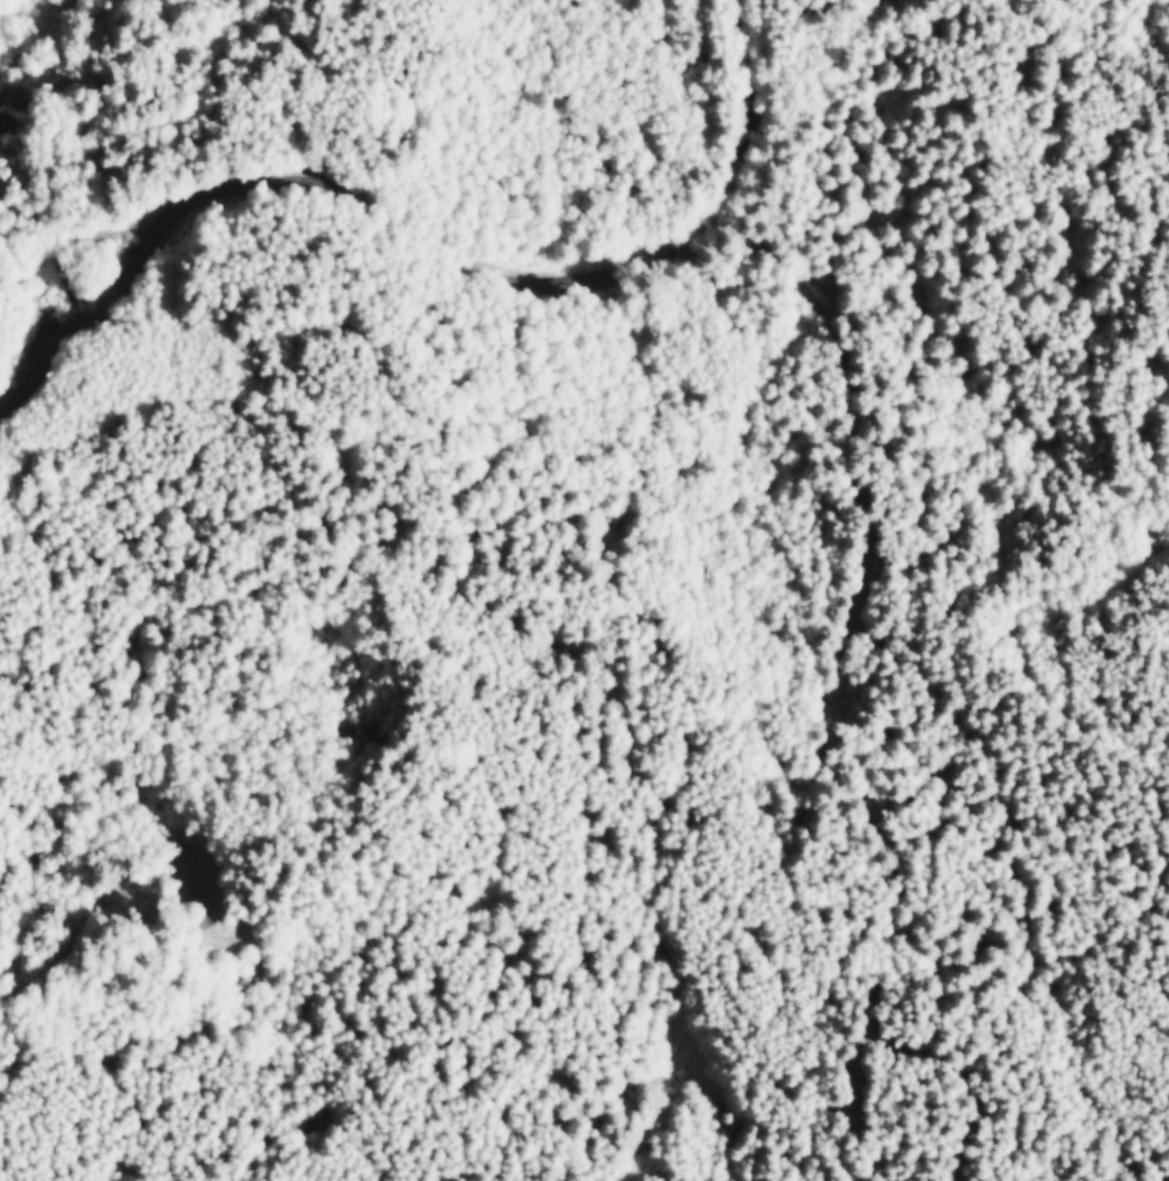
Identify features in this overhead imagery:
road: (1078, 40)
road: (418, 224)
road: (1016, 651)

